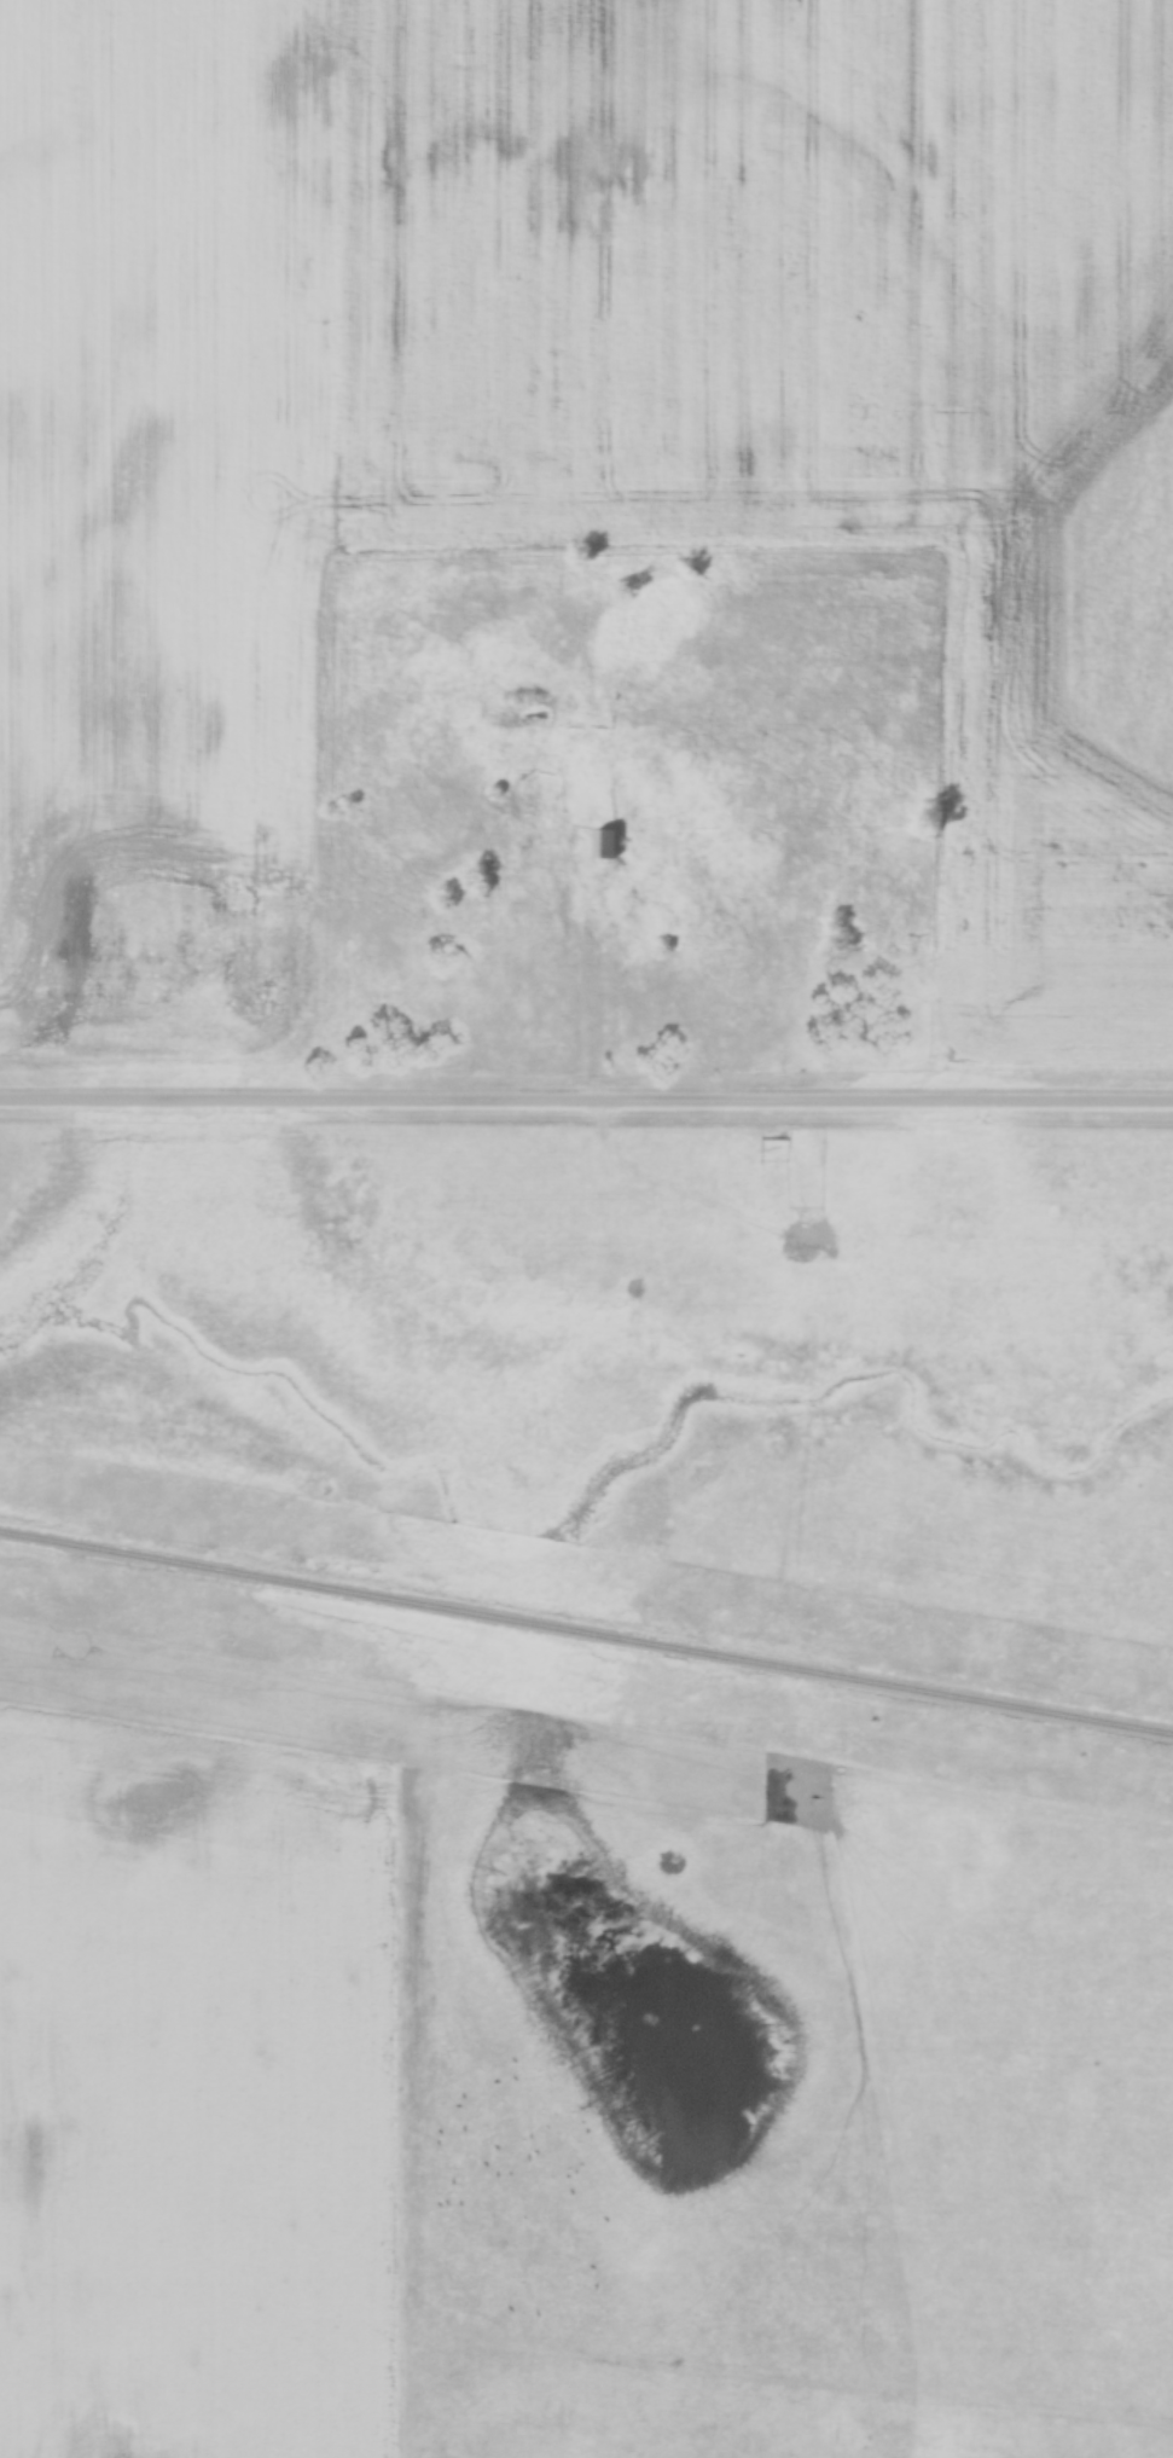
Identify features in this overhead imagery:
crop: (161, 511)
building: (605, 844)
road: (586, 1103)
railway: (586, 1631)
crop: (196, 2095)

